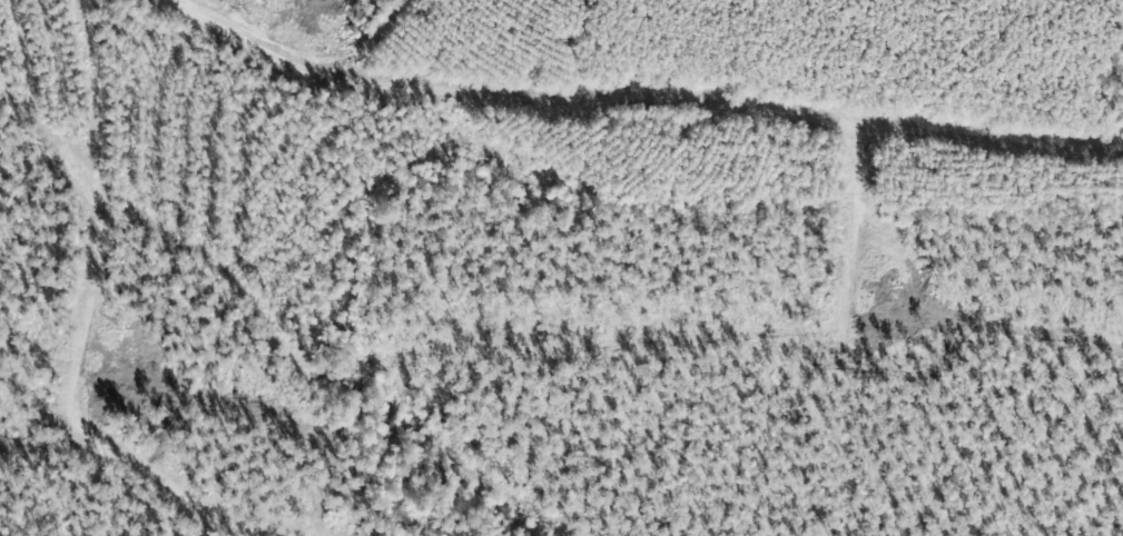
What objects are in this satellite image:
road: (638, 98)
road: (93, 315)

